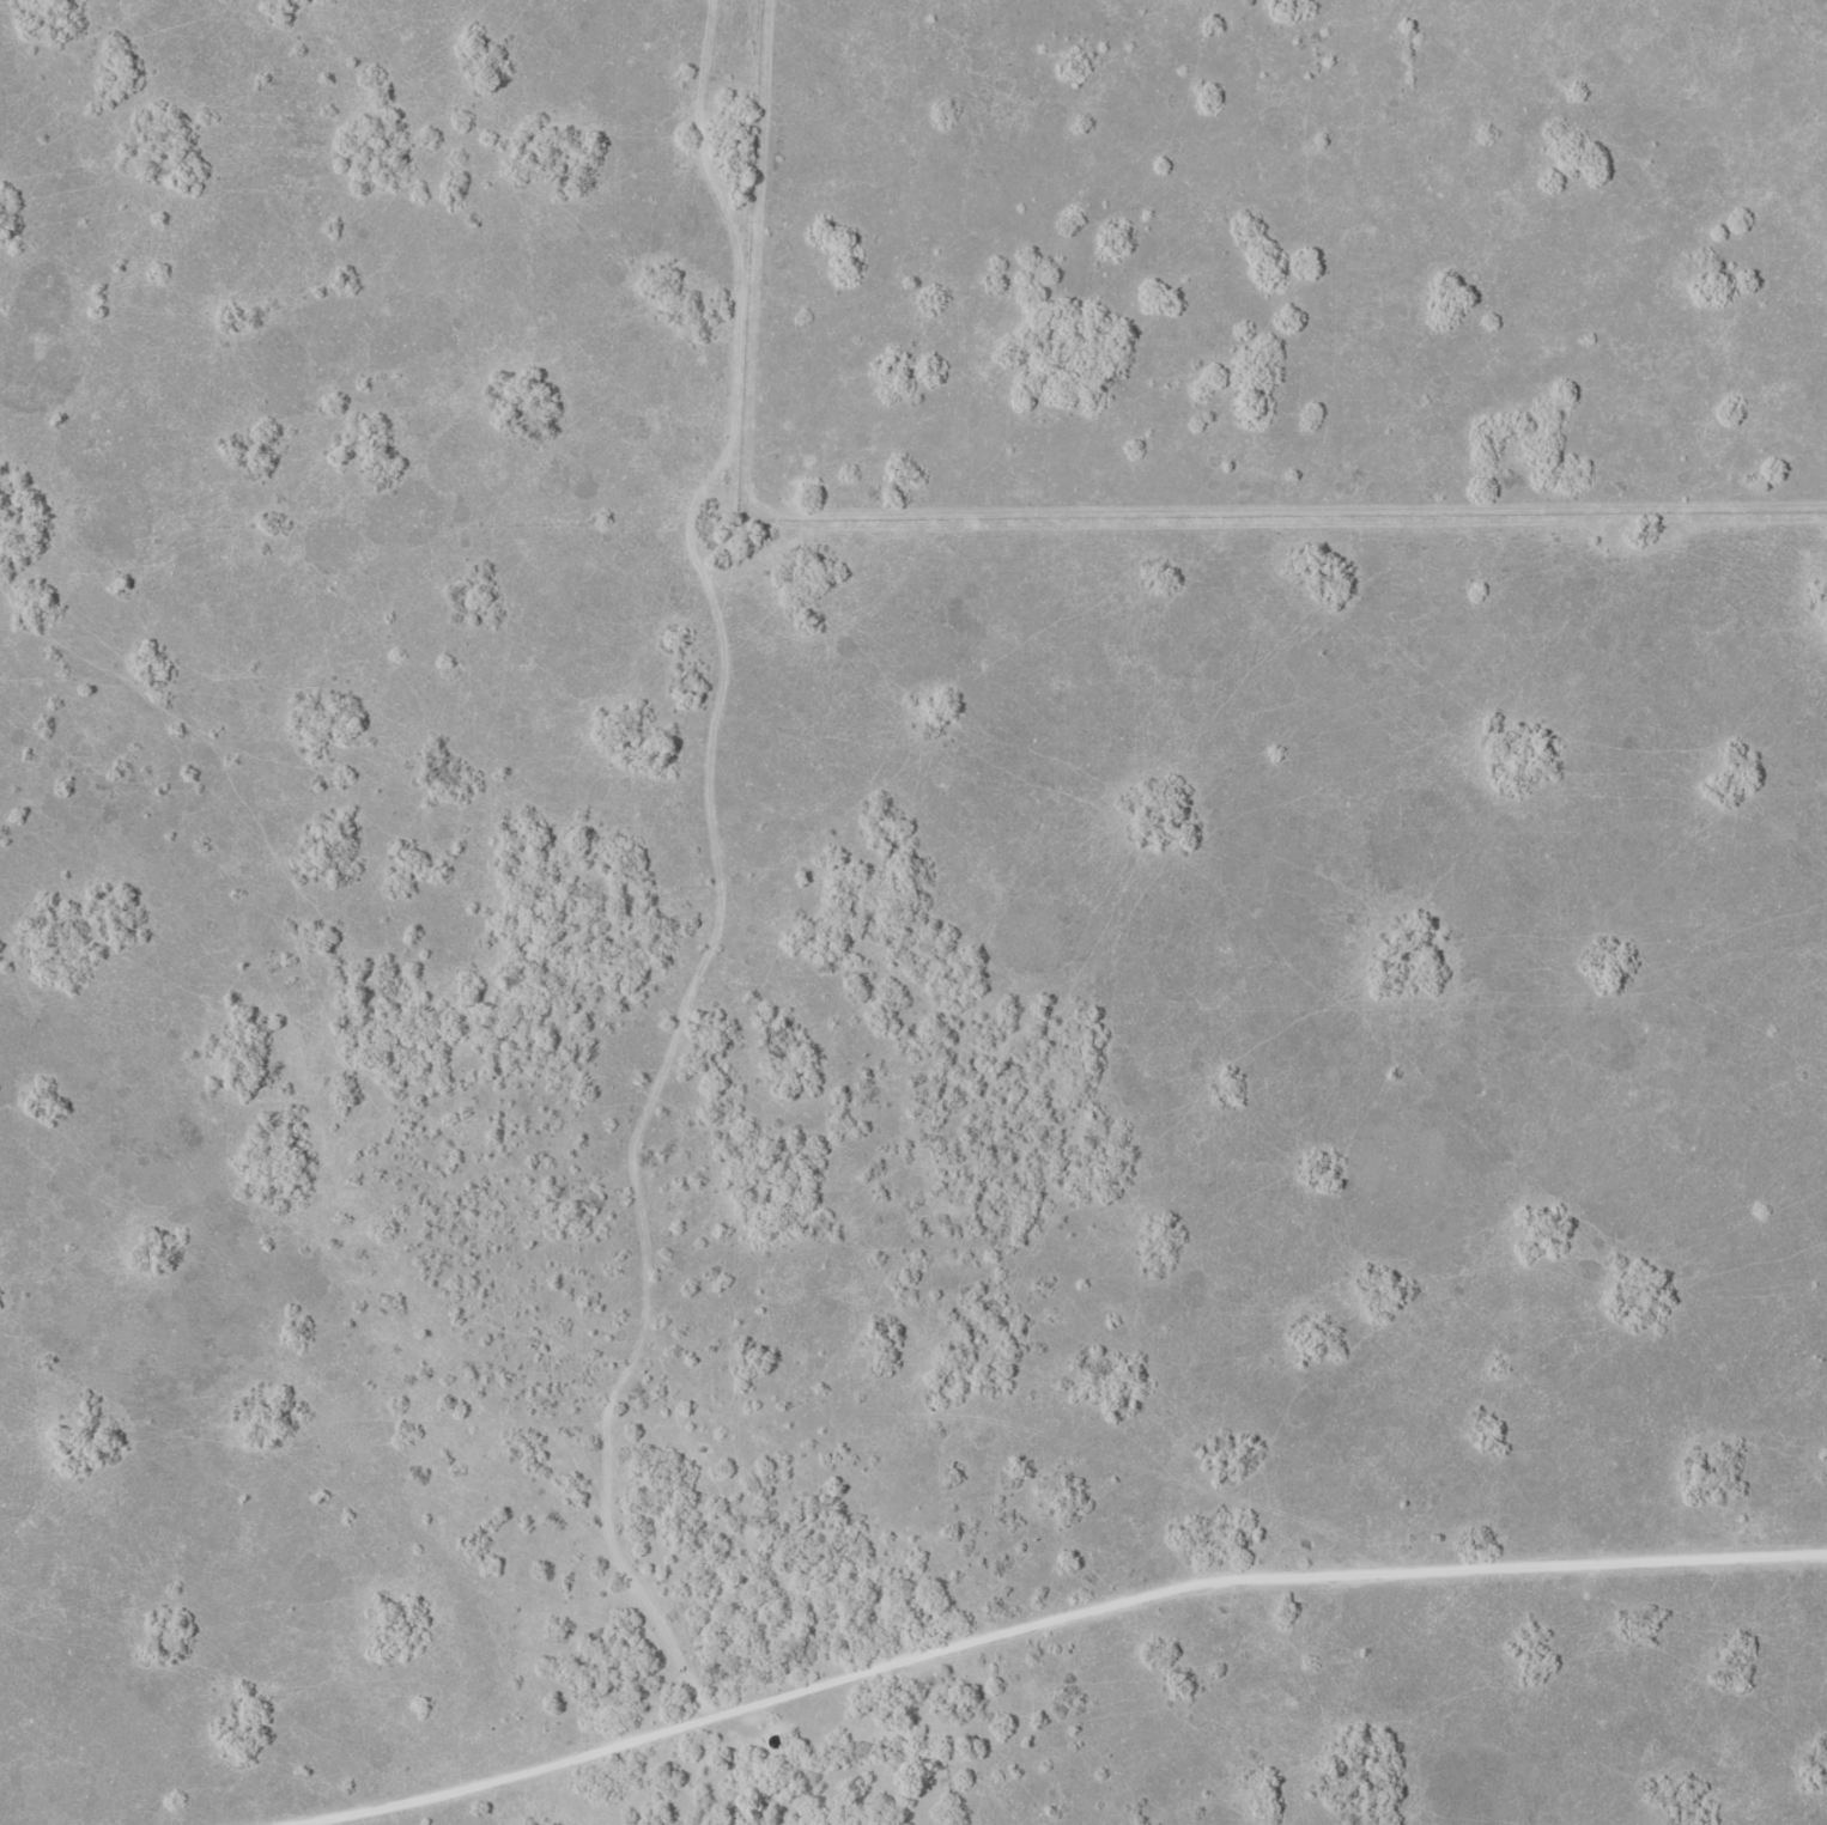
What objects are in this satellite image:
road: (1001, 1631)

